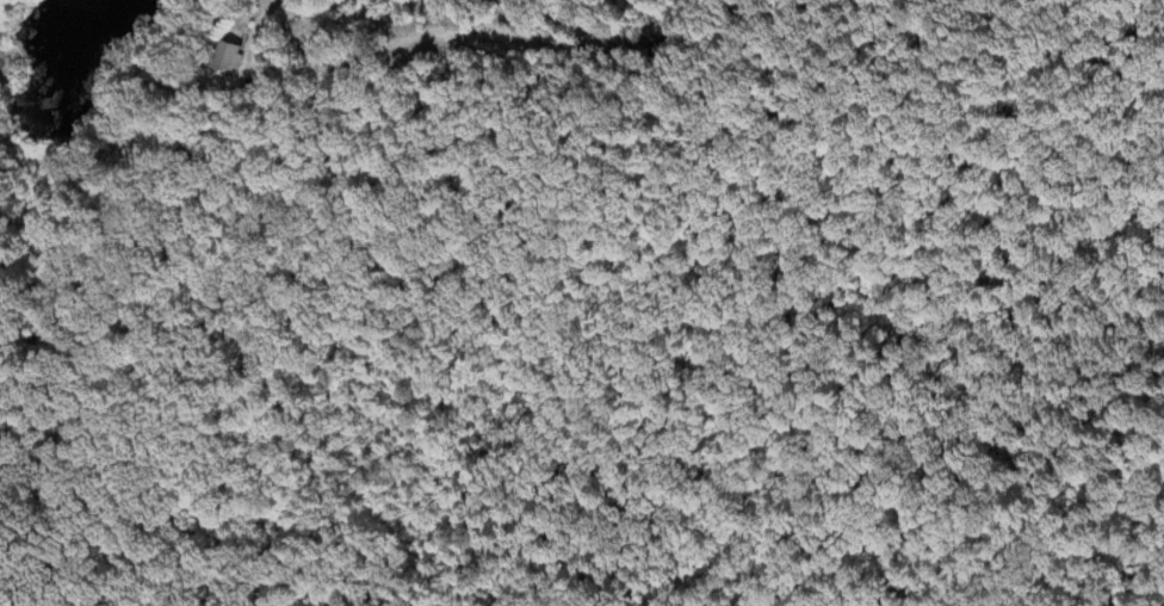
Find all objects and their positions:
road: (260, 26)
building: (228, 61)

